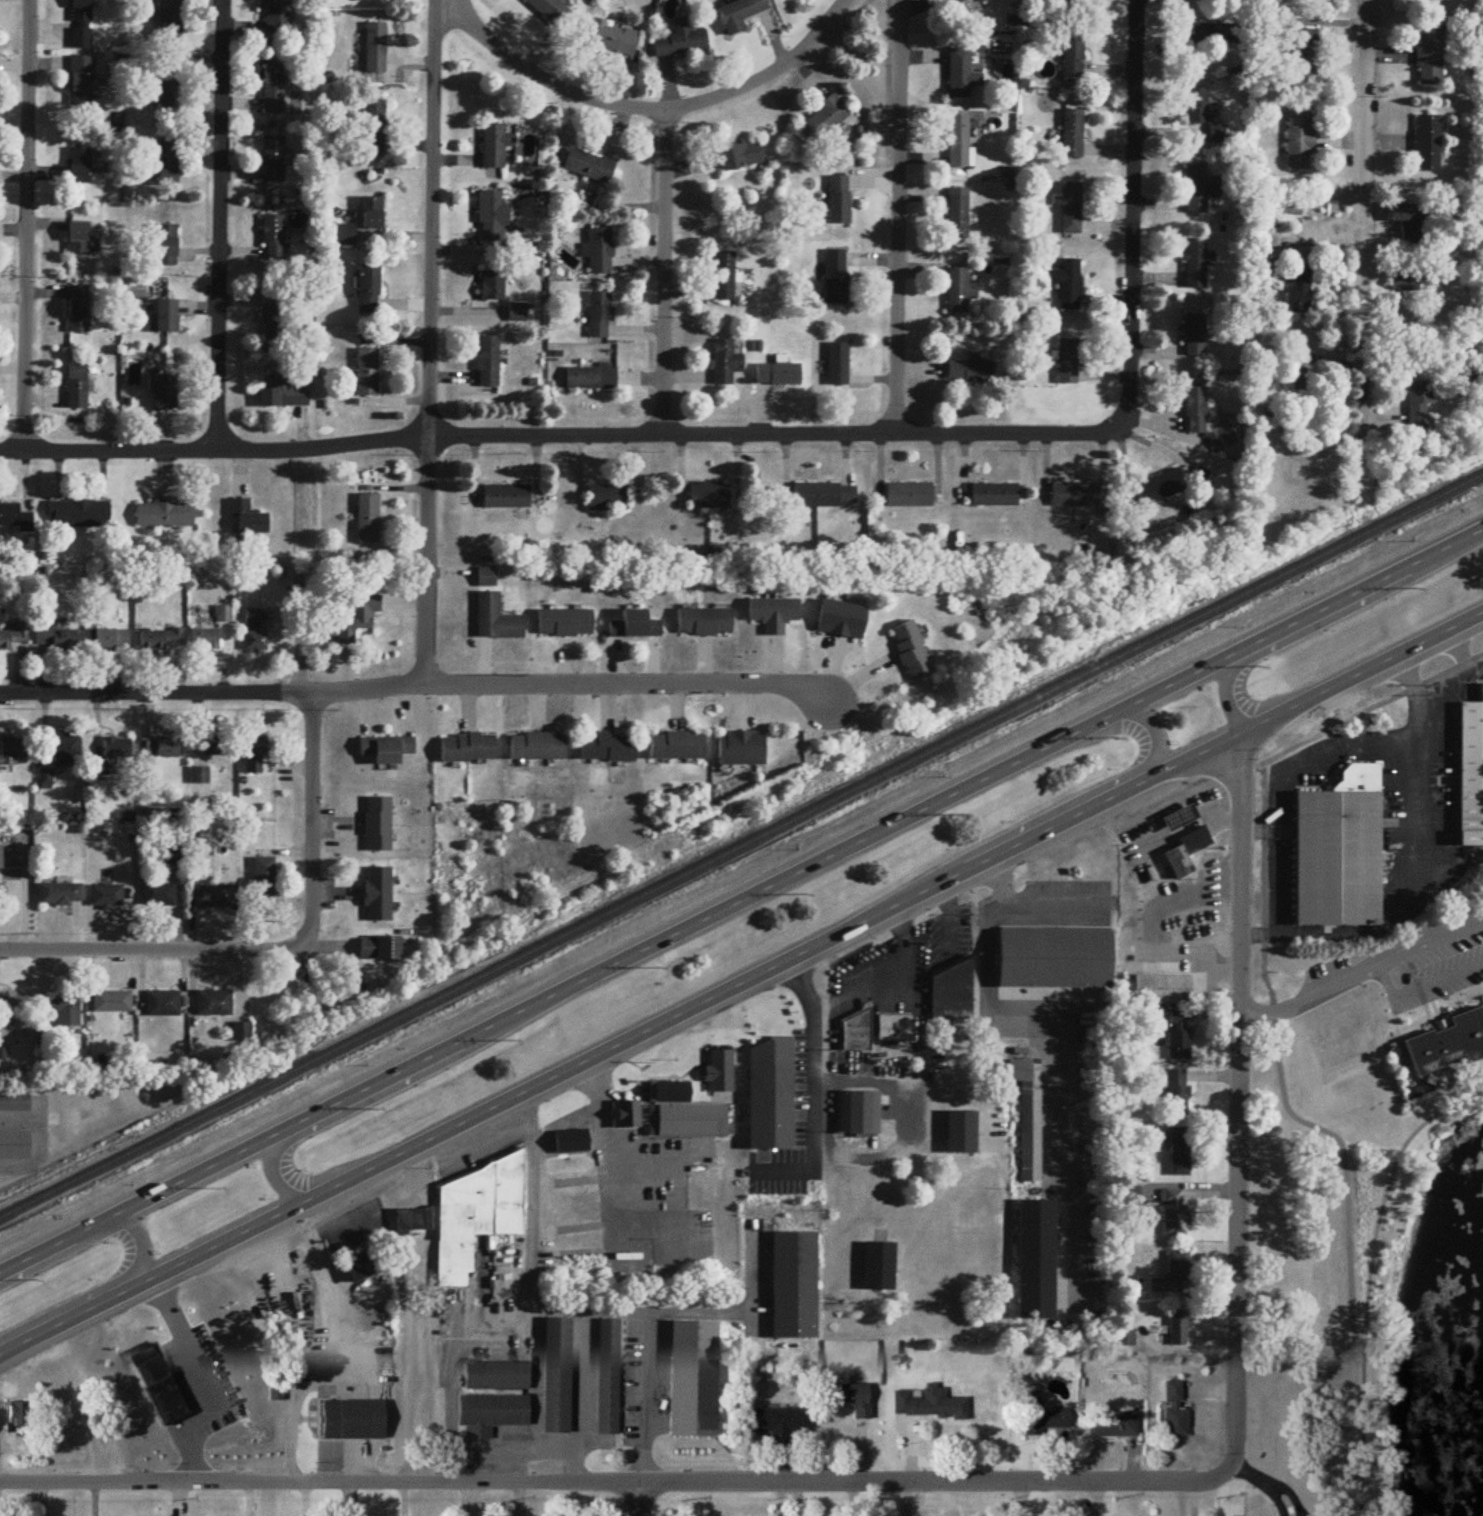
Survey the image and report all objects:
building: (961, 1)
building: (1072, 2)
building: (553, 13)
building: (740, 15)
building: (278, 17)
building: (171, 23)
building: (82, 25)
building: (1213, 35)
building: (613, 39)
building: (680, 45)
building: (376, 50)
building: (1074, 55)
building: (1305, 55)
building: (1430, 60)
building: (962, 76)
building: (81, 84)
building: (274, 91)
building: (170, 99)
building: (1197, 107)
road: (649, 110)
building: (825, 120)
building: (374, 131)
building: (1073, 135)
building: (1218, 135)
building: (1300, 143)
building: (959, 144)
building: (1428, 145)
building: (495, 148)
building: (741, 158)
building: (275, 162)
building: (169, 164)
building: (80, 168)
building: (589, 168)
building: (1199, 189)
building: (839, 201)
road: (1362, 207)
building: (1071, 209)
road: (1132, 214)
building: (959, 215)
building: (1406, 215)
building: (373, 216)
road: (897, 216)
building: (490, 219)
road: (221, 224)
road: (25, 226)
building: (274, 240)
building: (78, 241)
building: (167, 248)
building: (599, 253)
building: (1197, 265)
road: (663, 273)
building: (725, 278)
building: (837, 278)
building: (1403, 283)
building: (1068, 286)
building: (493, 288)
building: (1301, 289)
building: (370, 291)
building: (960, 292)
building: (78, 311)
building: (518, 314)
building: (600, 317)
building: (275, 319)
building: (166, 320)
building: (1196, 337)
road: (429, 340)
building: (1068, 363)
building: (489, 364)
building: (726, 364)
building: (838, 366)
building: (970, 373)
building: (367, 374)
building: (779, 376)
building: (591, 378)
building: (1298, 381)
building: (78, 389)
building: (164, 392)
building: (286, 394)
building: (1419, 407)
building: (1196, 412)
road: (558, 436)
building: (1161, 488)
building: (825, 495)
building: (994, 495)
building: (1075, 495)
building: (710, 496)
building: (910, 496)
building: (507, 497)
building: (608, 498)
building: (165, 514)
building: (80, 515)
building: (15, 518)
building: (248, 518)
building: (368, 519)
building: (487, 578)
building: (774, 614)
building: (496, 619)
building: (351, 620)
building: (842, 620)
road: (1330, 620)
building: (705, 622)
building: (565, 624)
building: (635, 626)
building: (255, 632)
road: (299, 632)
building: (15, 636)
building: (56, 639)
building: (161, 639)
building: (205, 639)
building: (112, 641)
building: (911, 651)
road: (431, 681)
road: (1444, 690)
building: (218, 746)
building: (677, 746)
building: (468, 747)
building: (538, 747)
building: (608, 747)
road: (1158, 747)
building: (117, 748)
building: (160, 748)
building: (742, 749)
building: (387, 750)
building: (66, 751)
building: (12, 754)
road: (1323, 754)
building: (256, 755)
building: (1469, 764)
building: (201, 776)
road: (1123, 803)
road: (1421, 803)
parking lot: (1418, 810)
building: (1180, 819)
road: (311, 820)
building: (378, 825)
railway: (741, 847)
building: (1337, 847)
building: (1184, 852)
building: (173, 857)
building: (1, 858)
building: (265, 878)
building: (61, 896)
building: (378, 896)
road: (1280, 896)
building: (159, 897)
building: (214, 897)
building: (107, 898)
road: (740, 900)
road: (1051, 902)
parking lot: (1189, 920)
road: (1149, 927)
road: (1326, 928)
building: (380, 949)
road: (150, 950)
road: (1397, 956)
parking lot: (1413, 959)
building: (1055, 960)
road: (1389, 979)
road: (1439, 979)
road: (742, 984)
building: (1160, 989)
road: (837, 991)
building: (952, 993)
road: (1434, 1001)
building: (112, 1003)
building: (214, 1004)
building: (164, 1005)
road: (1278, 1006)
building: (14, 1010)
building: (67, 1010)
road: (1211, 1014)
building: (894, 1029)
building: (1340, 1029)
building: (856, 1034)
building: (1447, 1035)
building: (1176, 1038)
building: (3, 1039)
road: (1051, 1051)
road: (1405, 1066)
road: (1212, 1077)
building: (716, 1084)
building: (1175, 1091)
building: (670, 1093)
road: (813, 1094)
building: (14, 1097)
road: (1239, 1098)
building: (859, 1114)
building: (629, 1115)
building: (688, 1122)
road: (908, 1123)
building: (1029, 1123)
building: (962, 1133)
road: (1215, 1134)
building: (14, 1140)
road: (42, 1142)
building: (569, 1143)
building: (1178, 1151)
road: (276, 1156)
building: (583, 1183)
building: (706, 1185)
road: (1186, 1186)
road: (615, 1187)
building: (1130, 1195)
building: (1172, 1211)
building: (477, 1216)
building: (411, 1221)
park: (1363, 1224)
road: (143, 1260)
building: (1036, 1261)
building: (879, 1267)
building: (361, 1270)
building: (1171, 1272)
road: (1369, 1278)
building: (795, 1286)
road: (1215, 1287)
road: (616, 1312)
building: (1175, 1326)
road: (534, 1329)
building: (1121, 1337)
road: (340, 1350)
road: (1184, 1351)
building: (499, 1375)
building: (558, 1376)
building: (610, 1377)
road: (193, 1379)
building: (695, 1379)
building: (159, 1383)
building: (277, 1390)
building: (858, 1398)
building: (930, 1403)
building: (1175, 1410)
road: (124, 1412)
building: (492, 1413)
building: (1046, 1416)
building: (19, 1418)
building: (354, 1418)
road: (536, 1420)
building: (782, 1420)
building: (1115, 1424)
road: (556, 1450)
road: (139, 1461)
road: (618, 1482)
road: (1267, 1483)
road: (640, 1499)

